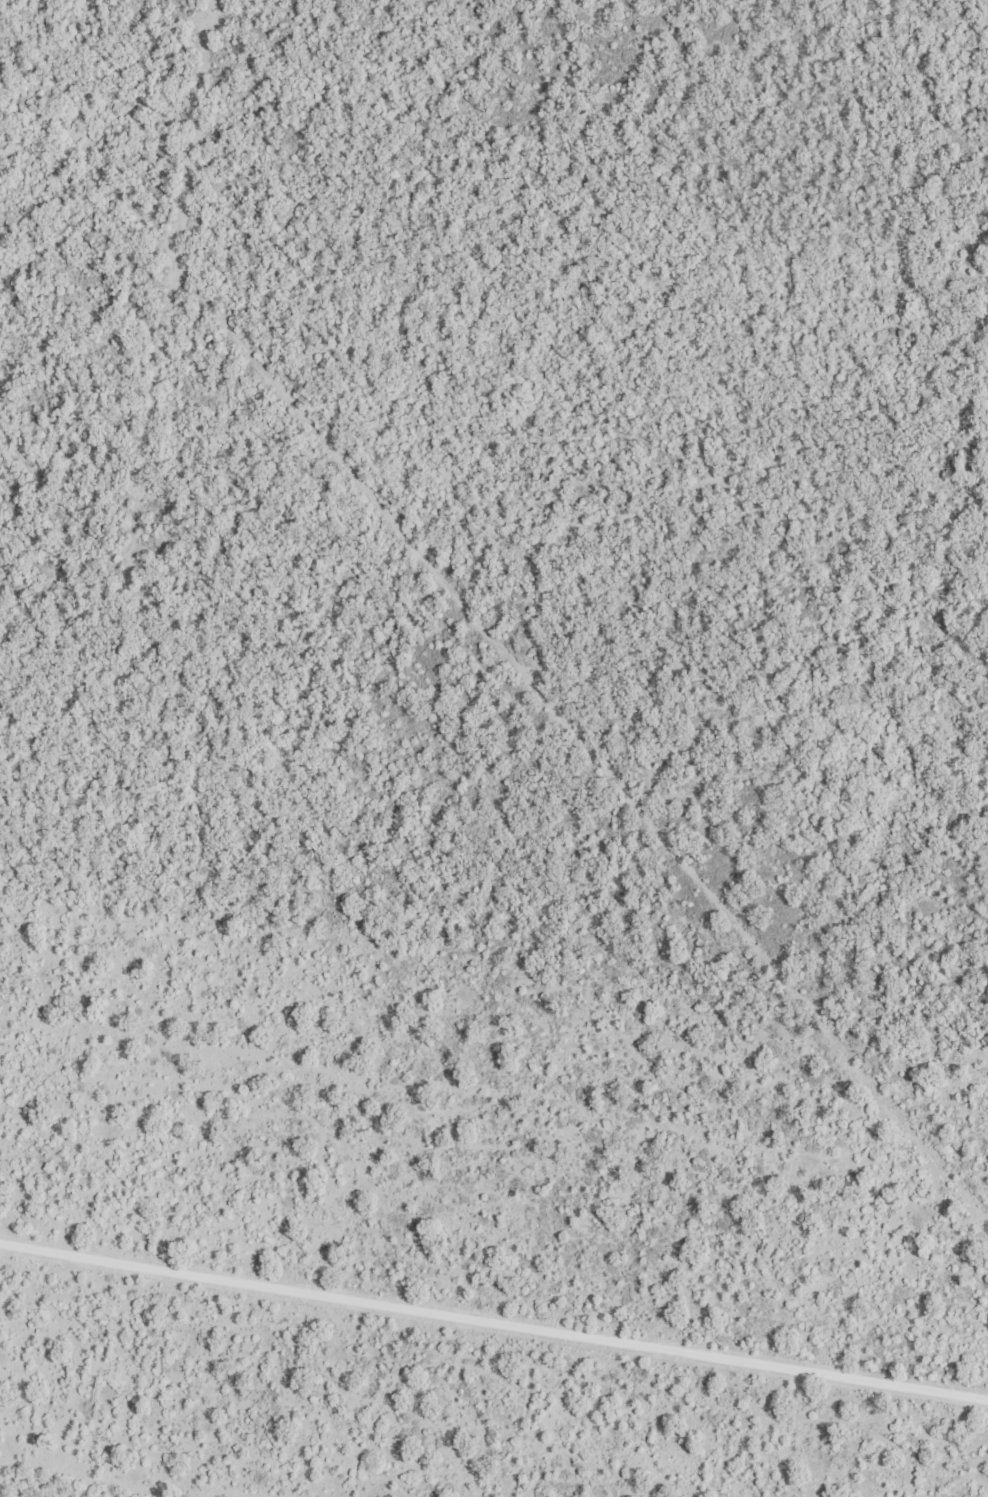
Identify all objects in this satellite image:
road: (493, 1322)

